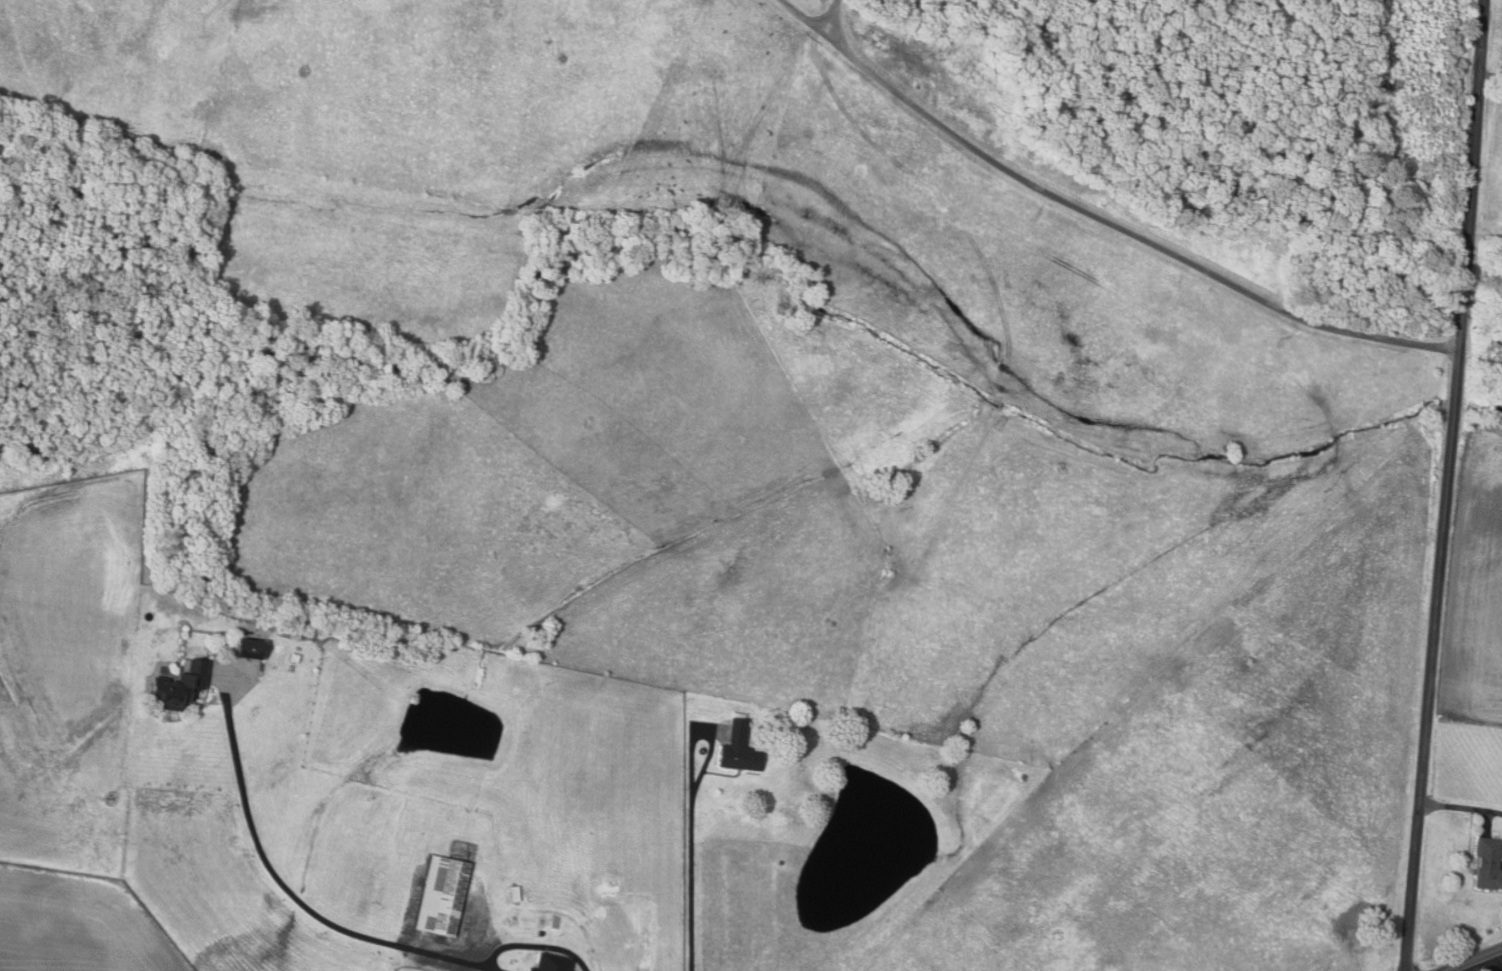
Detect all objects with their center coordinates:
road: (832, 17)
road: (1490, 76)
road: (1099, 217)
road: (1446, 485)
building: (252, 647)
building: (181, 685)
building: (742, 749)
road: (1460, 805)
building: (1486, 864)
road: (692, 866)
building: (516, 893)
building: (444, 895)
road: (299, 898)
crop: (78, 925)
building: (541, 932)
road: (536, 944)
road: (1474, 960)
building: (553, 963)
road: (1449, 970)

